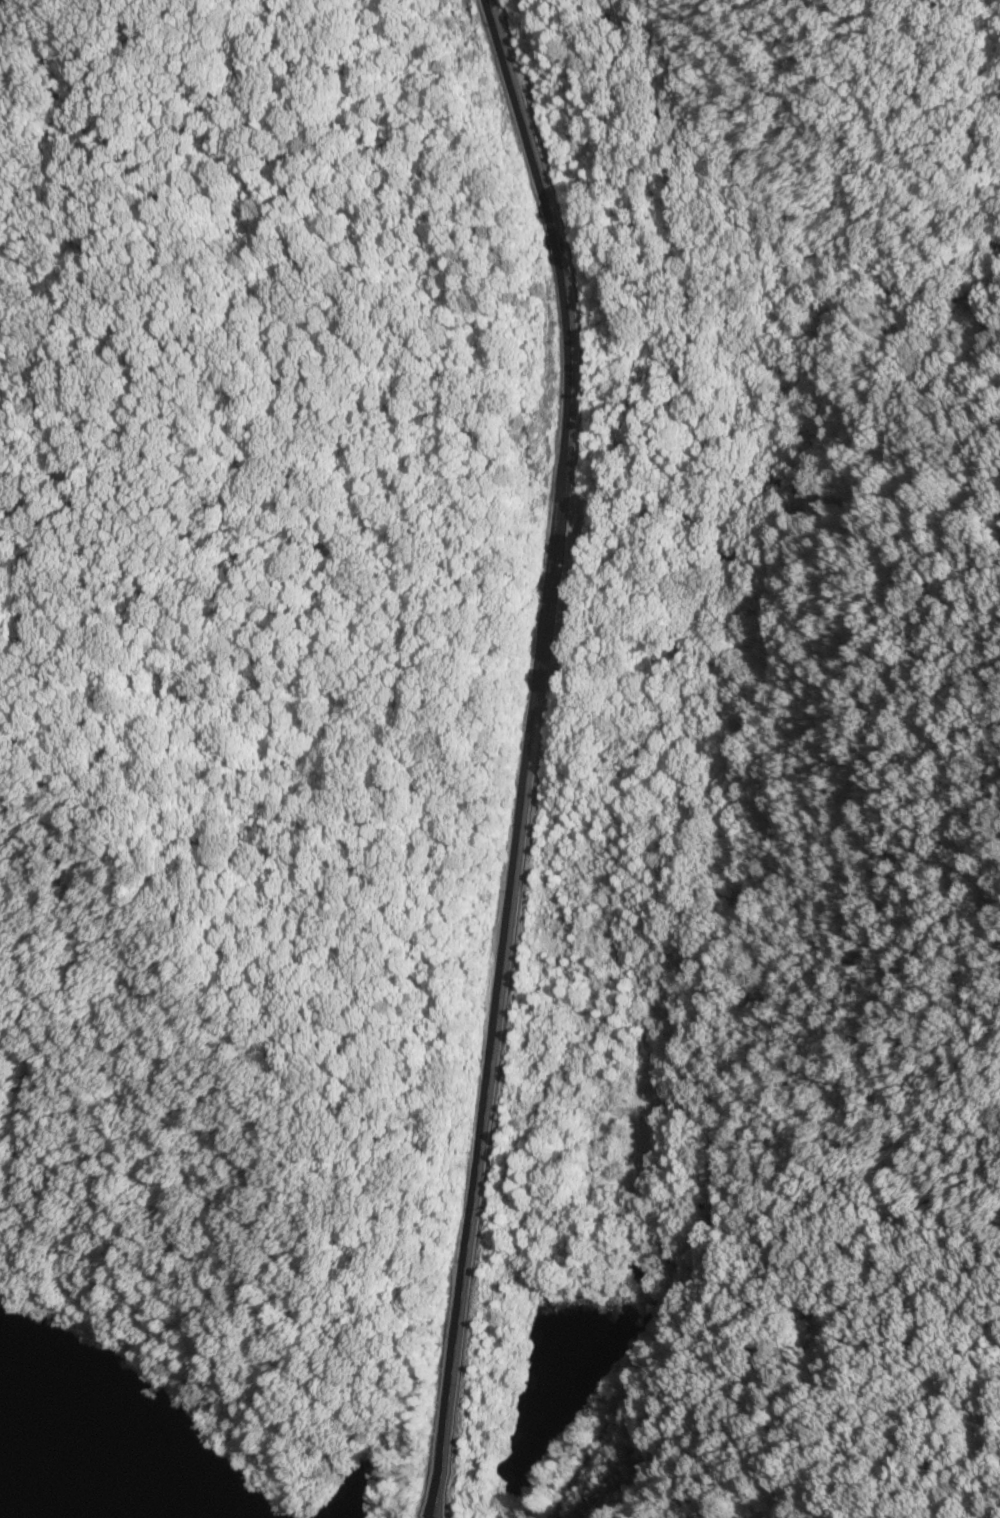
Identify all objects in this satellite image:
road: (526, 755)
road: (757, 911)
river: (43, 1482)

